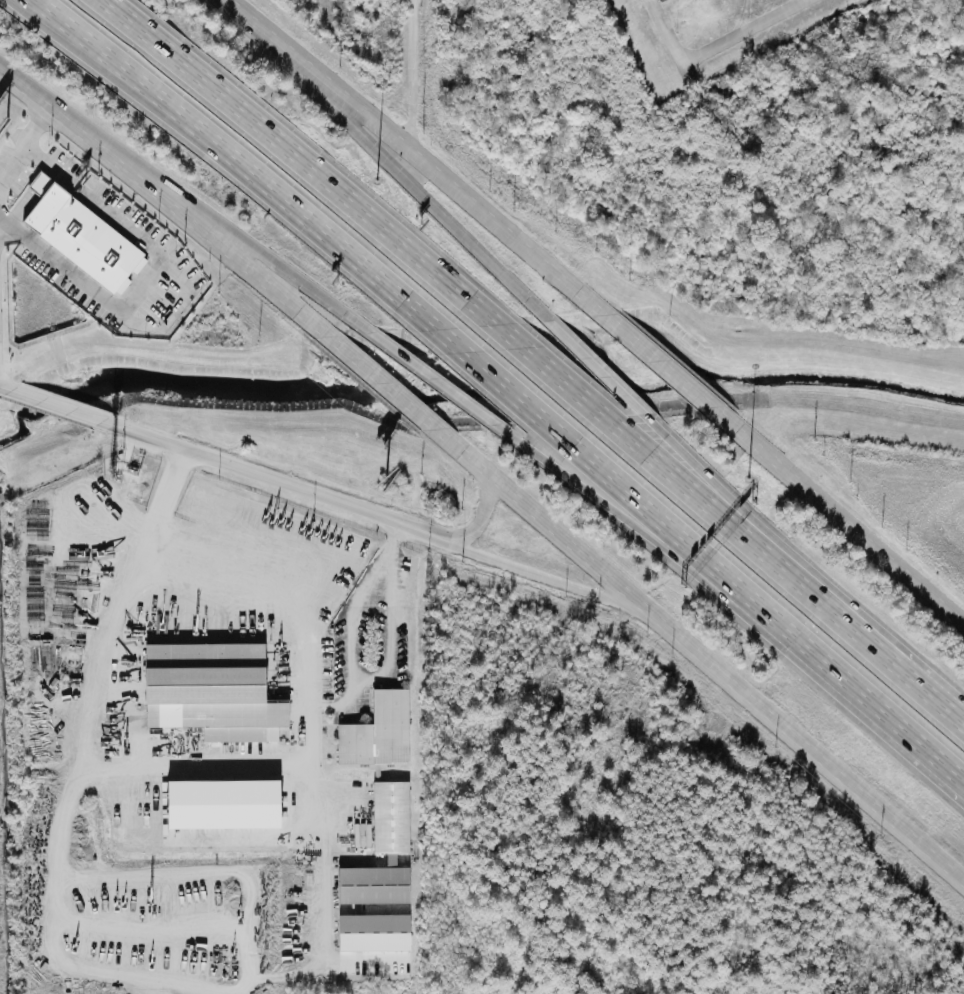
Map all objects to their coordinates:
building: (661, 1)
road: (228, 6)
road: (48, 9)
road: (52, 9)
road: (715, 44)
road: (410, 74)
road: (399, 147)
road: (21, 151)
road: (298, 159)
road: (393, 164)
road: (254, 172)
road: (167, 201)
road: (238, 229)
building: (81, 234)
road: (151, 271)
road: (582, 297)
road: (655, 359)
road: (594, 368)
road: (554, 378)
road: (504, 382)
river: (474, 383)
road: (381, 384)
road: (4, 387)
road: (443, 387)
road: (53, 405)
road: (273, 479)
road: (483, 517)
road: (835, 519)
road: (660, 520)
road: (636, 522)
road: (751, 522)
road: (733, 533)
road: (549, 579)
road: (281, 581)
road: (394, 598)
road: (352, 634)
road: (874, 652)
road: (699, 654)
road: (96, 674)
road: (859, 690)
building: (210, 691)
road: (929, 698)
building: (378, 734)
road: (234, 770)
building: (223, 804)
building: (382, 853)
building: (374, 932)

